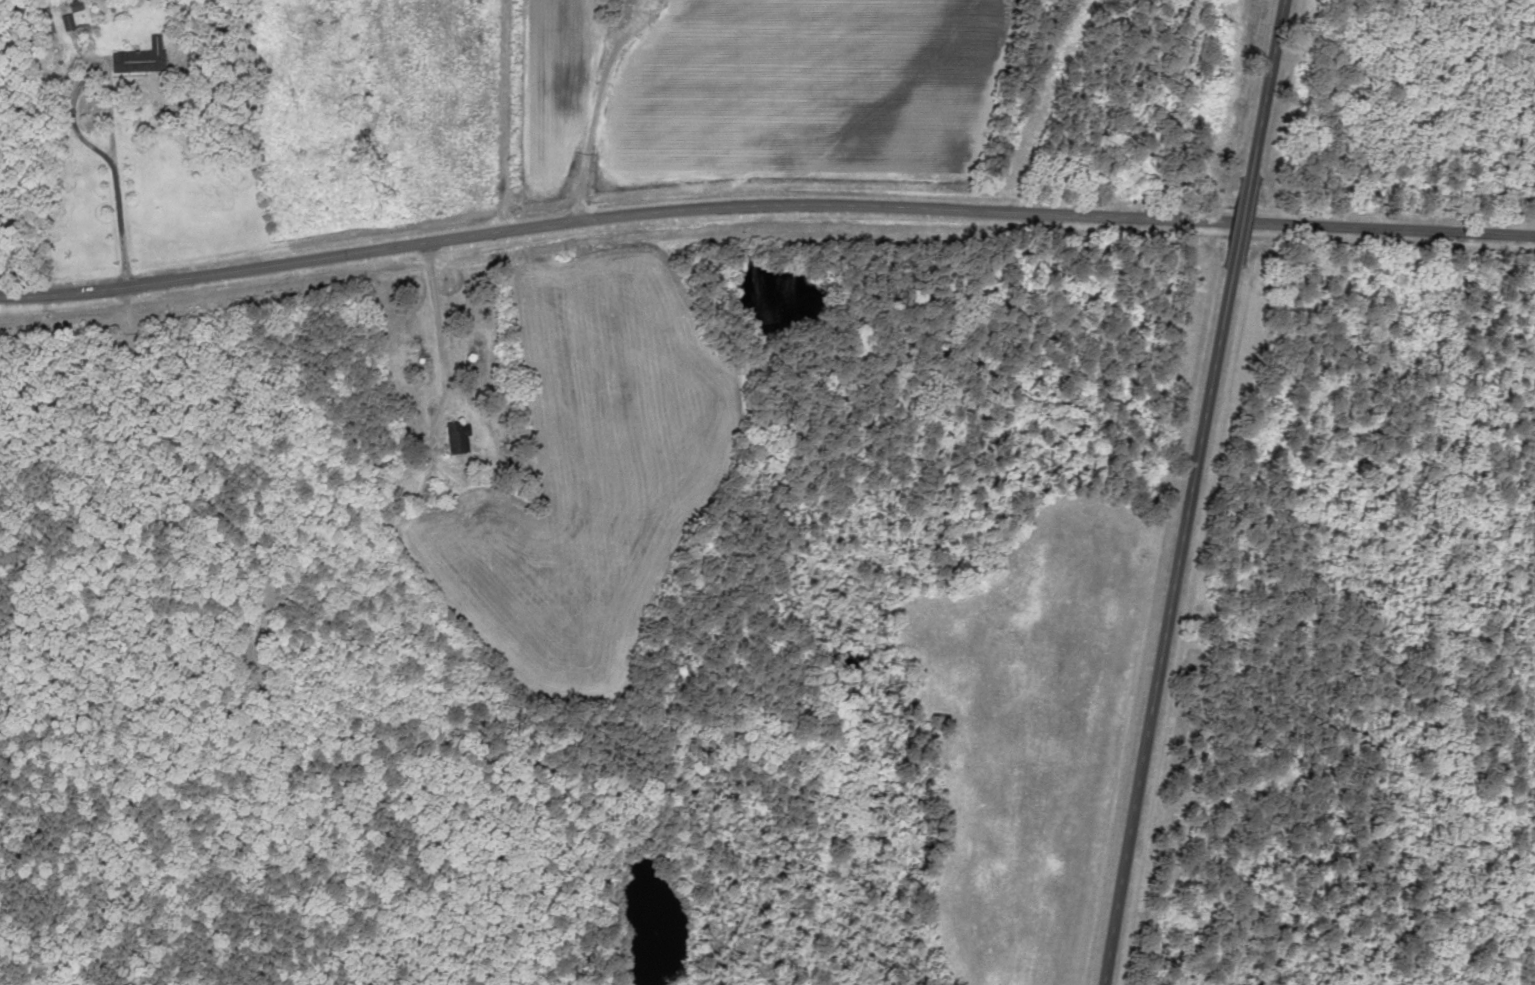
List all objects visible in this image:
building: (65, 23)
building: (43, 24)
building: (137, 58)
road: (1255, 98)
road: (587, 101)
road: (1451, 108)
road: (766, 217)
road: (1228, 232)
building: (455, 438)
road: (1166, 627)

